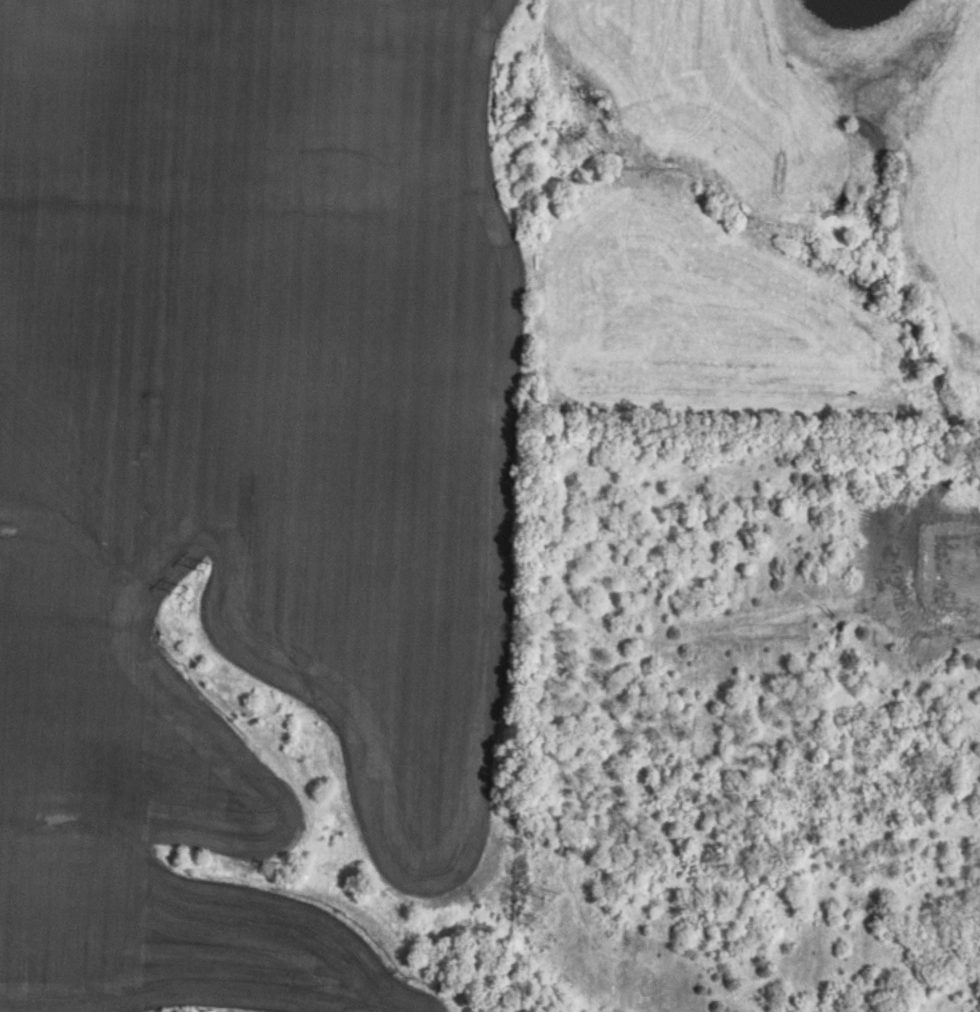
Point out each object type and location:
power tower: (194, 570)
power tower: (170, 592)
power tower: (543, 898)
power tower: (518, 922)

